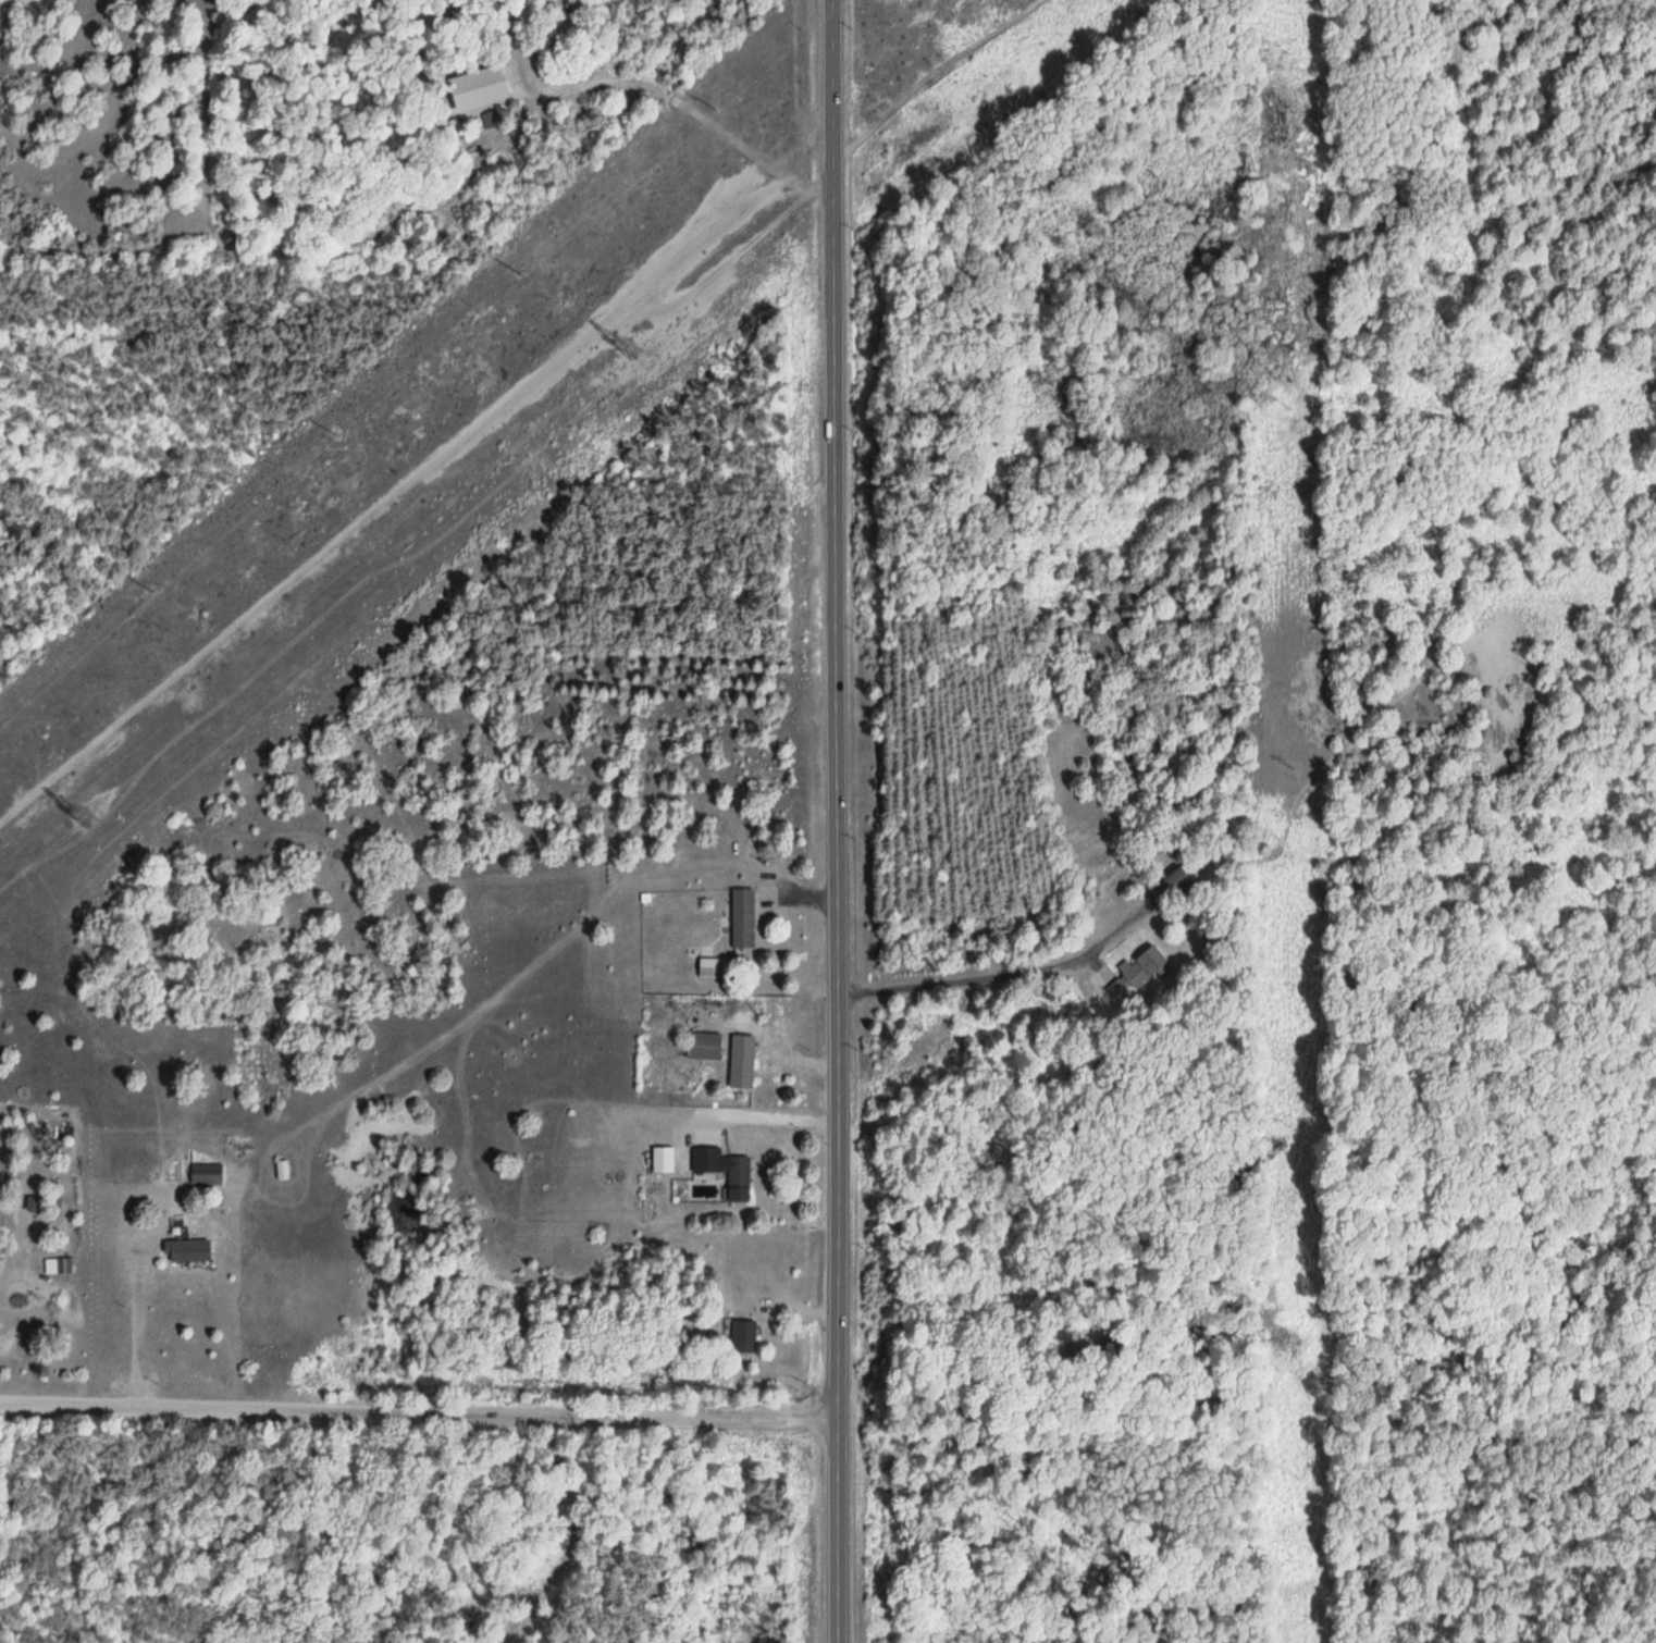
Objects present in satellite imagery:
power tower: (632, 344)
power tower: (84, 817)
road: (833, 820)
building: (742, 918)
building: (1141, 968)
building: (713, 969)
building: (702, 1046)
building: (741, 1074)
building: (662, 1160)
building: (724, 1171)
building: (205, 1175)
building: (186, 1251)
building: (63, 1267)
building: (742, 1337)
road: (418, 1407)

